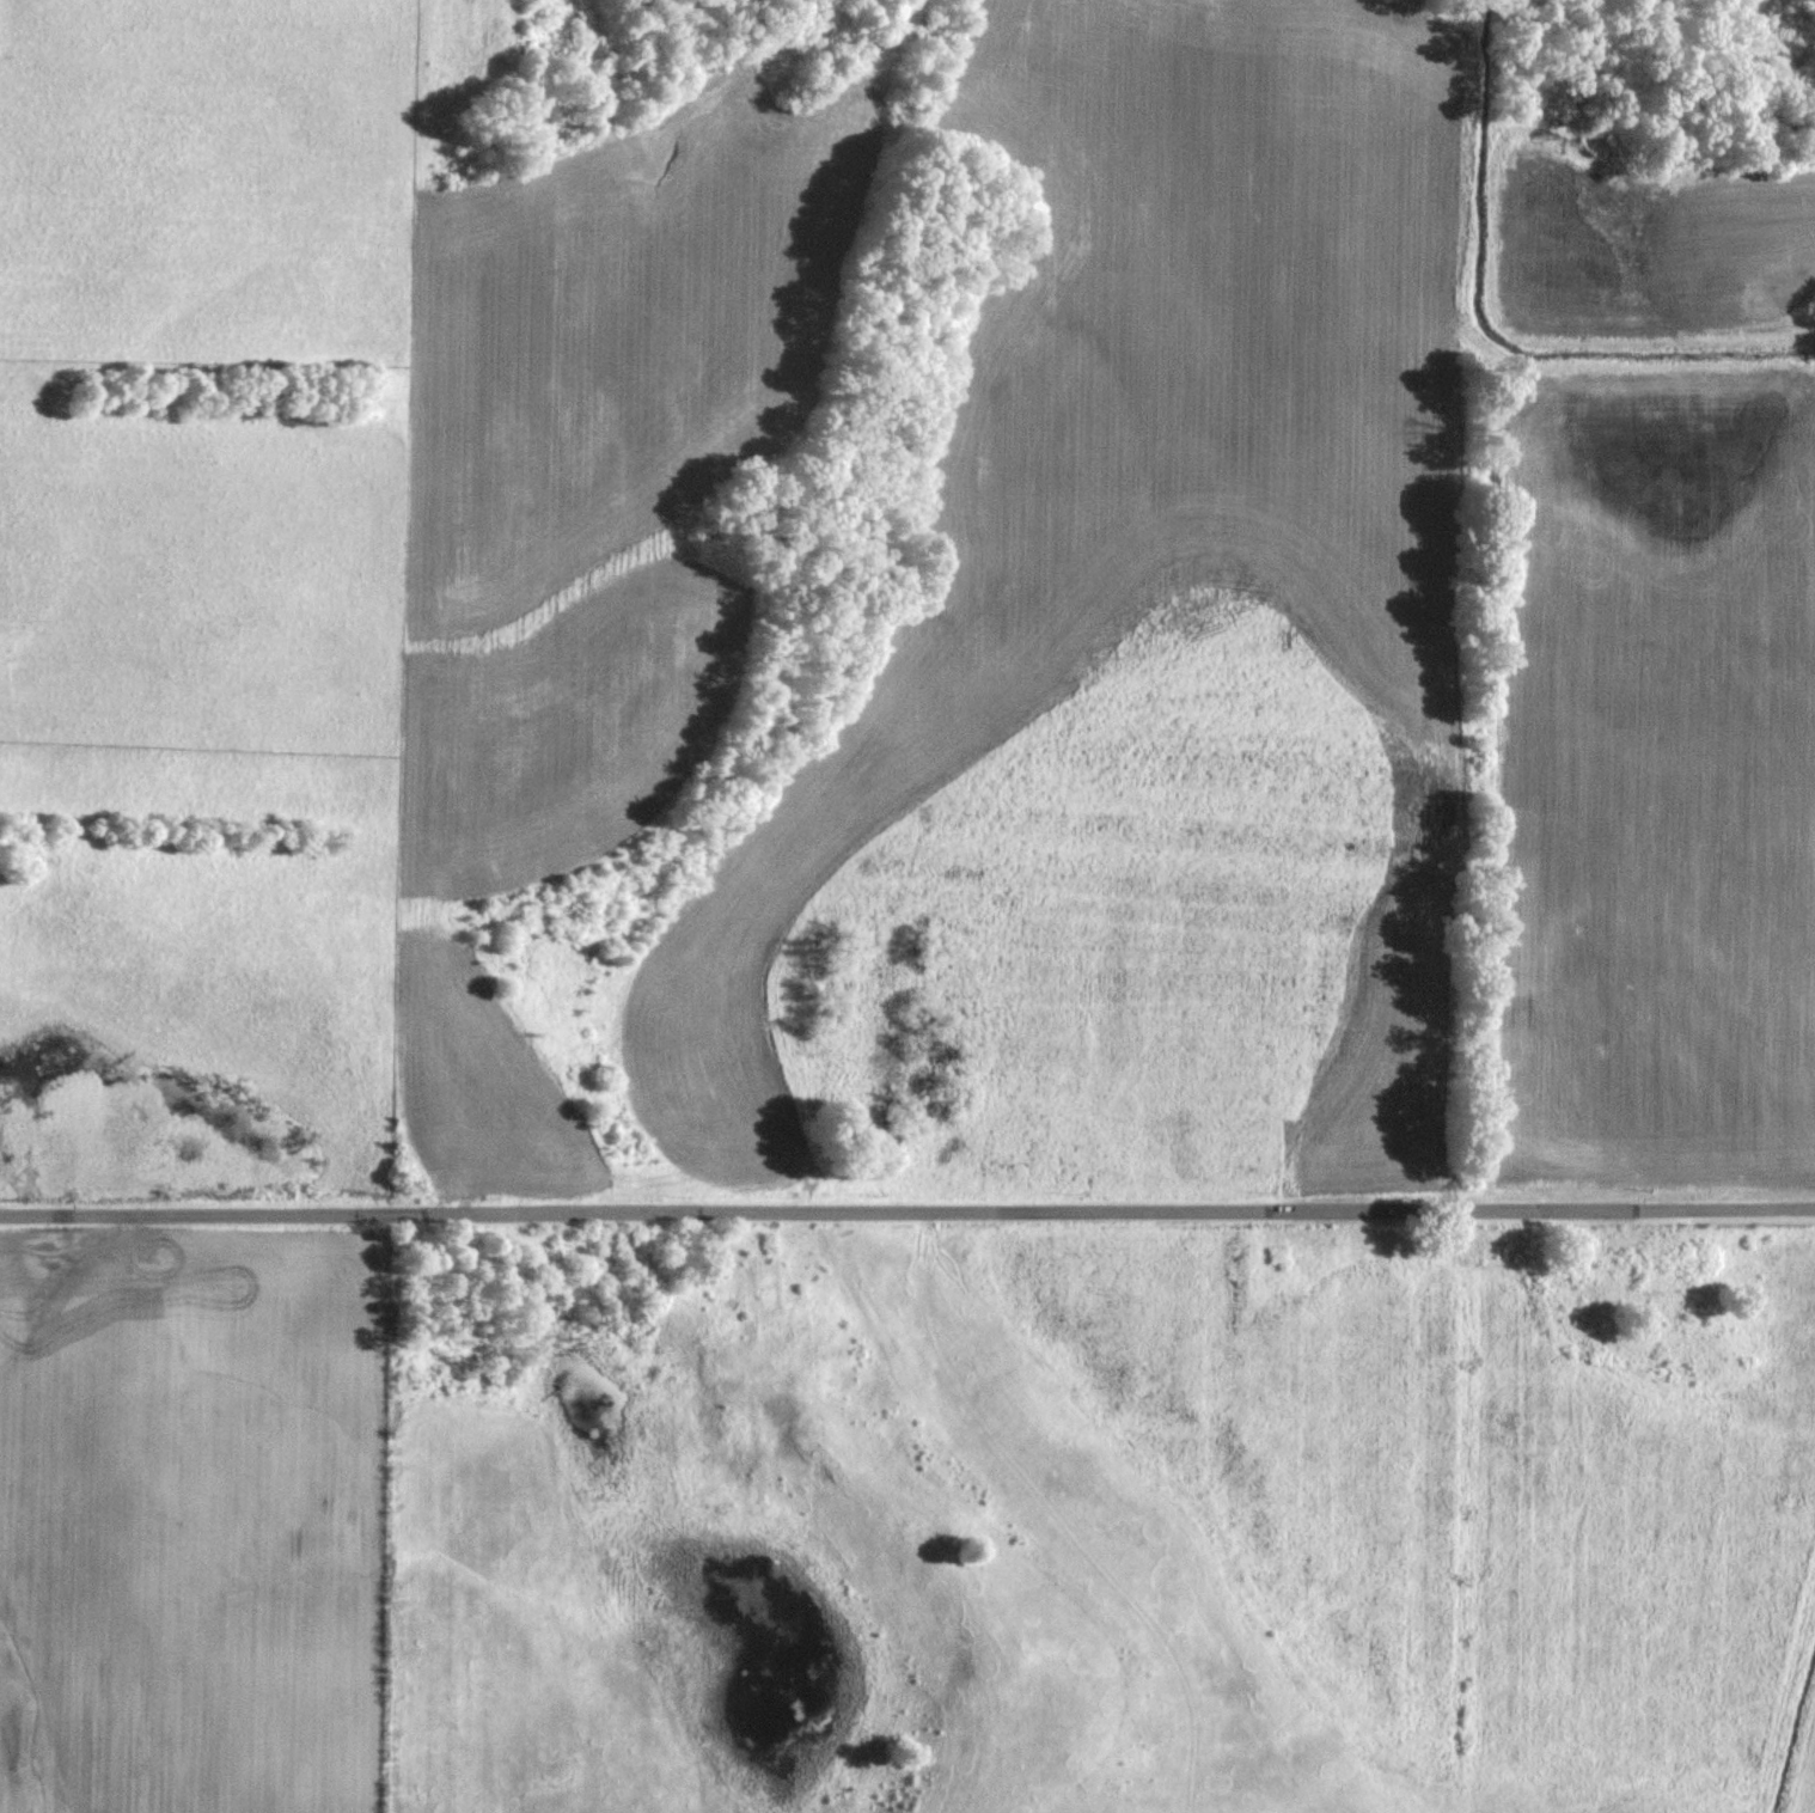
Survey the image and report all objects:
road: (907, 1208)

